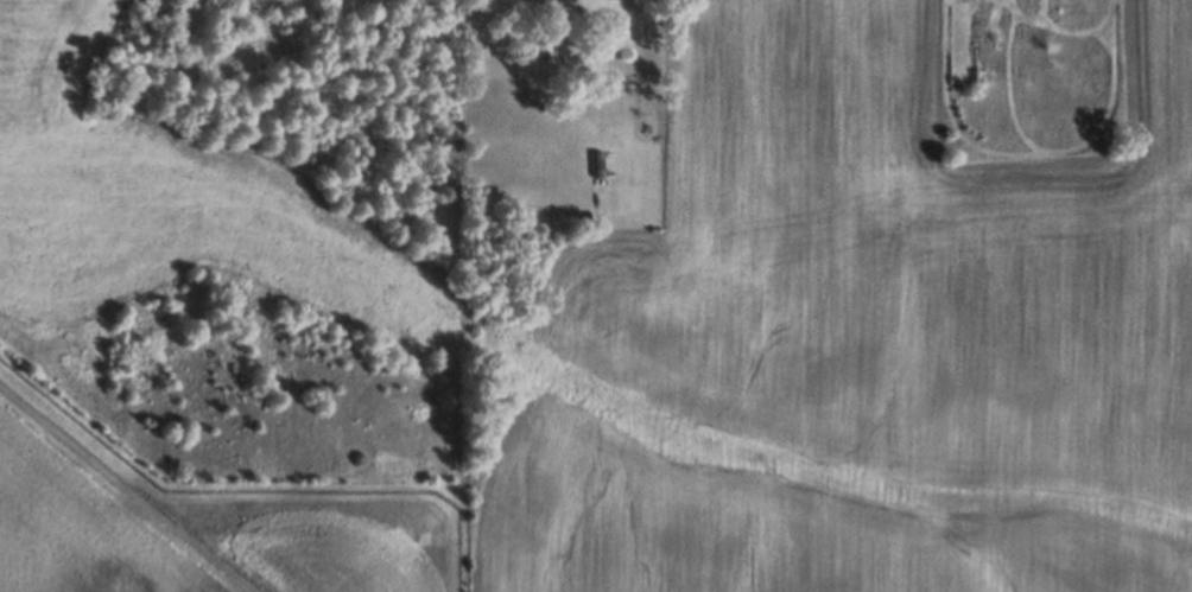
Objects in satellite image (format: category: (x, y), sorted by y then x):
crop: (708, 286)
airport: (192, 524)

